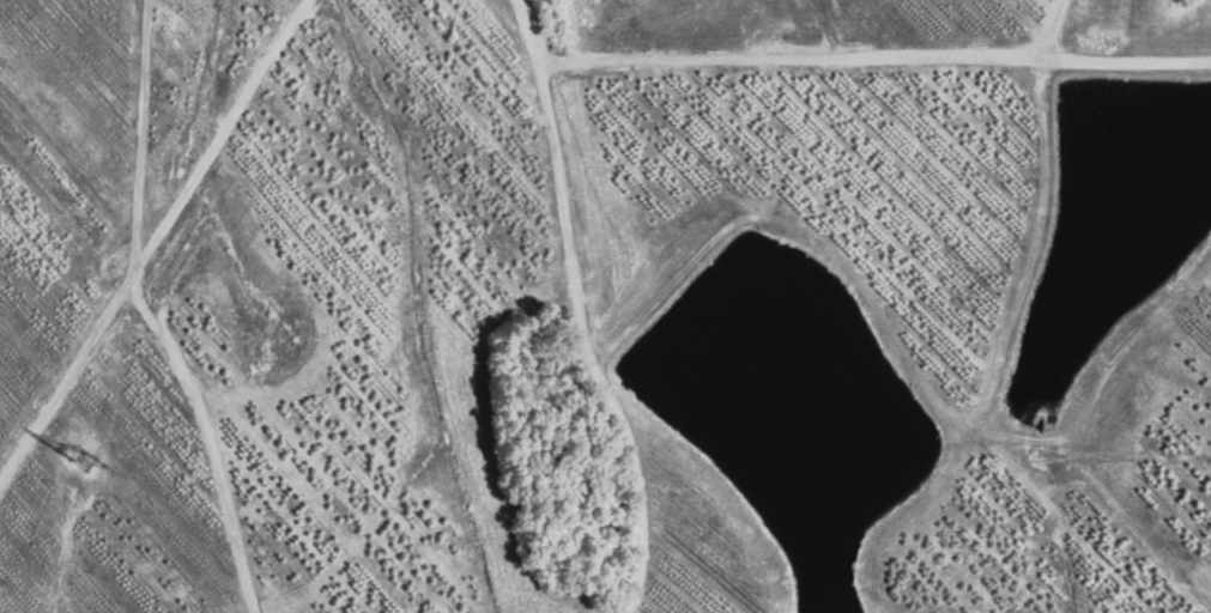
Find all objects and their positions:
power tower: (85, 456)

